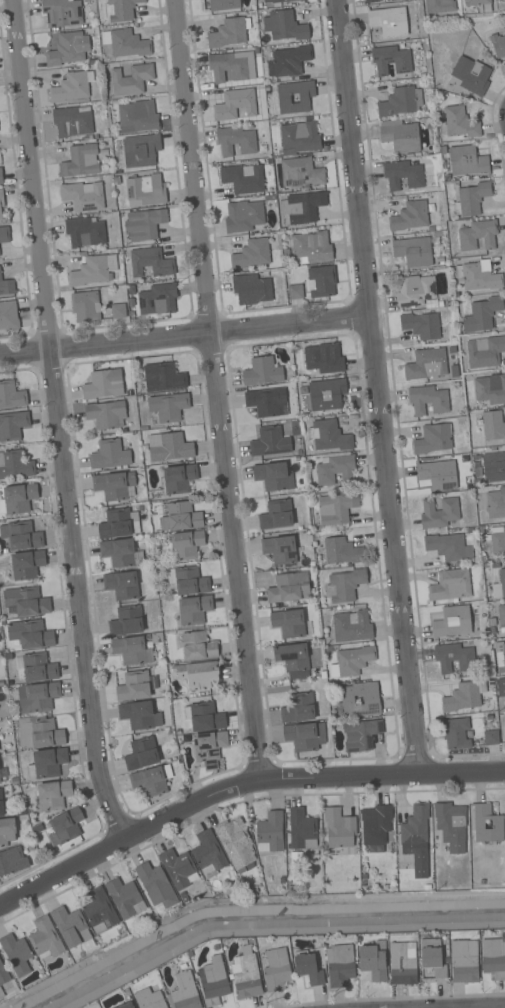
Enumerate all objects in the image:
building: (302, 0)
building: (504, 0)
building: (371, 1)
building: (274, 2)
building: (223, 4)
building: (479, 5)
building: (439, 6)
building: (120, 9)
building: (61, 12)
building: (388, 21)
building: (284, 26)
building: (227, 33)
building: (125, 43)
building: (497, 45)
building: (68, 49)
building: (288, 61)
building: (390, 61)
building: (227, 67)
building: (471, 75)
building: (131, 79)
building: (70, 87)
building: (283, 100)
building: (400, 101)
building: (235, 104)
building: (137, 117)
building: (72, 121)
building: (460, 122)
building: (300, 136)
building: (399, 136)
building: (235, 140)
building: (139, 150)
building: (80, 161)
building: (466, 161)
building: (301, 172)
building: (402, 174)
building: (1, 177)
building: (243, 178)
building: (116, 180)
building: (145, 190)
building: (83, 195)
building: (1, 198)
building: (471, 198)
building: (302, 206)
building: (0, 215)
building: (243, 216)
building: (409, 216)
building: (145, 223)
building: (85, 232)
building: (4, 234)
building: (478, 235)
building: (311, 247)
building: (413, 250)
building: (251, 253)
building: (150, 262)
building: (93, 270)
building: (478, 276)
building: (322, 280)
building: (7, 286)
building: (252, 288)
building: (131, 290)
building: (415, 290)
building: (295, 291)
building: (158, 299)
building: (131, 303)
building: (431, 303)
building: (85, 306)
building: (118, 310)
building: (482, 314)
building: (8, 315)
building: (421, 325)
road: (185, 336)
building: (454, 349)
building: (485, 351)
building: (323, 358)
building: (426, 364)
building: (262, 371)
building: (456, 373)
building: (163, 377)
building: (103, 384)
road: (377, 387)
building: (490, 389)
road: (214, 390)
building: (326, 393)
building: (11, 395)
building: (428, 399)
building: (265, 401)
building: (168, 406)
building: (105, 413)
road: (62, 421)
building: (491, 424)
building: (12, 425)
building: (328, 435)
building: (433, 438)
building: (270, 441)
building: (169, 447)
building: (109, 454)
building: (15, 465)
building: (493, 467)
building: (335, 469)
building: (425, 475)
building: (273, 476)
building: (178, 478)
building: (114, 486)
building: (17, 498)
building: (496, 503)
building: (336, 508)
building: (438, 513)
building: (276, 515)
building: (180, 516)
building: (117, 524)
building: (21, 535)
building: (497, 540)
building: (185, 545)
building: (448, 547)
building: (279, 549)
building: (340, 551)
building: (118, 552)
building: (139, 557)
building: (26, 564)
building: (188, 580)
building: (122, 584)
building: (344, 585)
building: (450, 585)
building: (499, 585)
building: (289, 587)
building: (26, 601)
building: (194, 609)
building: (501, 618)
building: (126, 621)
building: (452, 622)
building: (288, 623)
building: (351, 626)
building: (30, 634)
building: (197, 646)
building: (131, 650)
building: (500, 656)
building: (291, 657)
building: (454, 657)
building: (352, 661)
building: (38, 668)
building: (197, 674)
building: (136, 686)
building: (503, 687)
building: (464, 696)
building: (37, 697)
building: (371, 701)
building: (298, 708)
building: (137, 715)
building: (203, 717)
building: (38, 733)
building: (361, 734)
building: (456, 734)
building: (304, 736)
building: (490, 737)
building: (209, 748)
building: (141, 754)
building: (46, 763)
building: (2, 776)
building: (151, 780)
road: (238, 784)
building: (53, 795)
building: (1, 804)
building: (497, 824)
building: (376, 825)
building: (451, 825)
building: (65, 826)
building: (339, 828)
building: (6, 831)
building: (270, 832)
building: (303, 835)
building: (416, 839)
building: (236, 844)
building: (208, 854)
building: (12, 860)
building: (179, 868)
building: (155, 886)
building: (124, 898)
building: (99, 911)
building: (70, 926)
building: (45, 938)
building: (16, 954)
building: (493, 958)
building: (373, 961)
building: (433, 961)
building: (403, 963)
building: (463, 963)
building: (340, 965)
building: (308, 968)
building: (276, 969)
building: (3, 974)
building: (245, 974)
building: (213, 981)
building: (183, 992)
building: (1, 994)
building: (149, 999)
building: (125, 1005)

